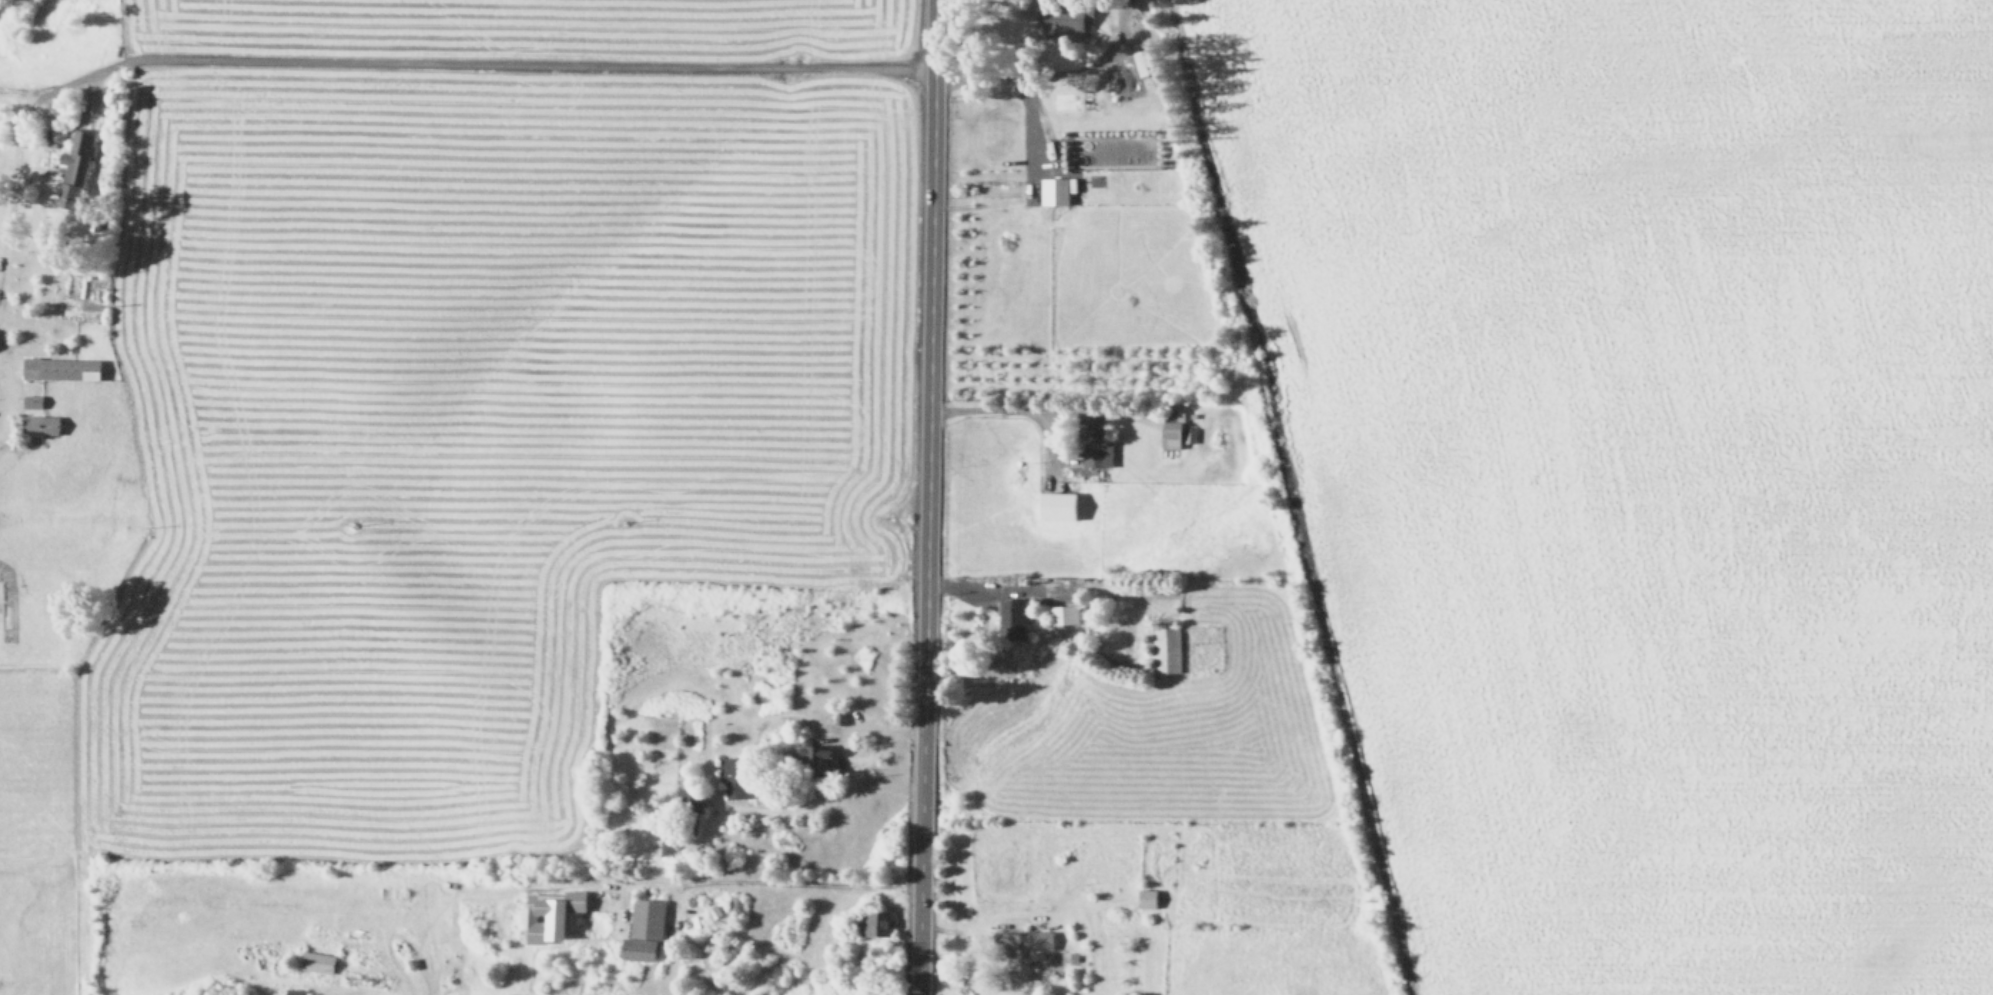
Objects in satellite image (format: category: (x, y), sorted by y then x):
building: (1057, 19)
road: (510, 63)
building: (1145, 66)
road: (1015, 79)
road: (57, 84)
road: (13, 91)
building: (74, 169)
road: (14, 179)
building: (1055, 191)
building: (61, 368)
building: (32, 402)
road: (997, 405)
building: (40, 425)
building: (1171, 435)
building: (1092, 442)
crop: (1650, 466)
crop: (440, 495)
road: (926, 497)
building: (1053, 504)
road: (983, 585)
building: (1064, 615)
building: (1011, 619)
building: (1166, 651)
road: (831, 726)
building: (810, 762)
building: (736, 777)
building: (692, 802)
road: (757, 879)
building: (1147, 899)
building: (547, 913)
building: (873, 923)
building: (644, 930)
building: (1016, 953)
building: (315, 960)
building: (290, 991)
building: (874, 994)

